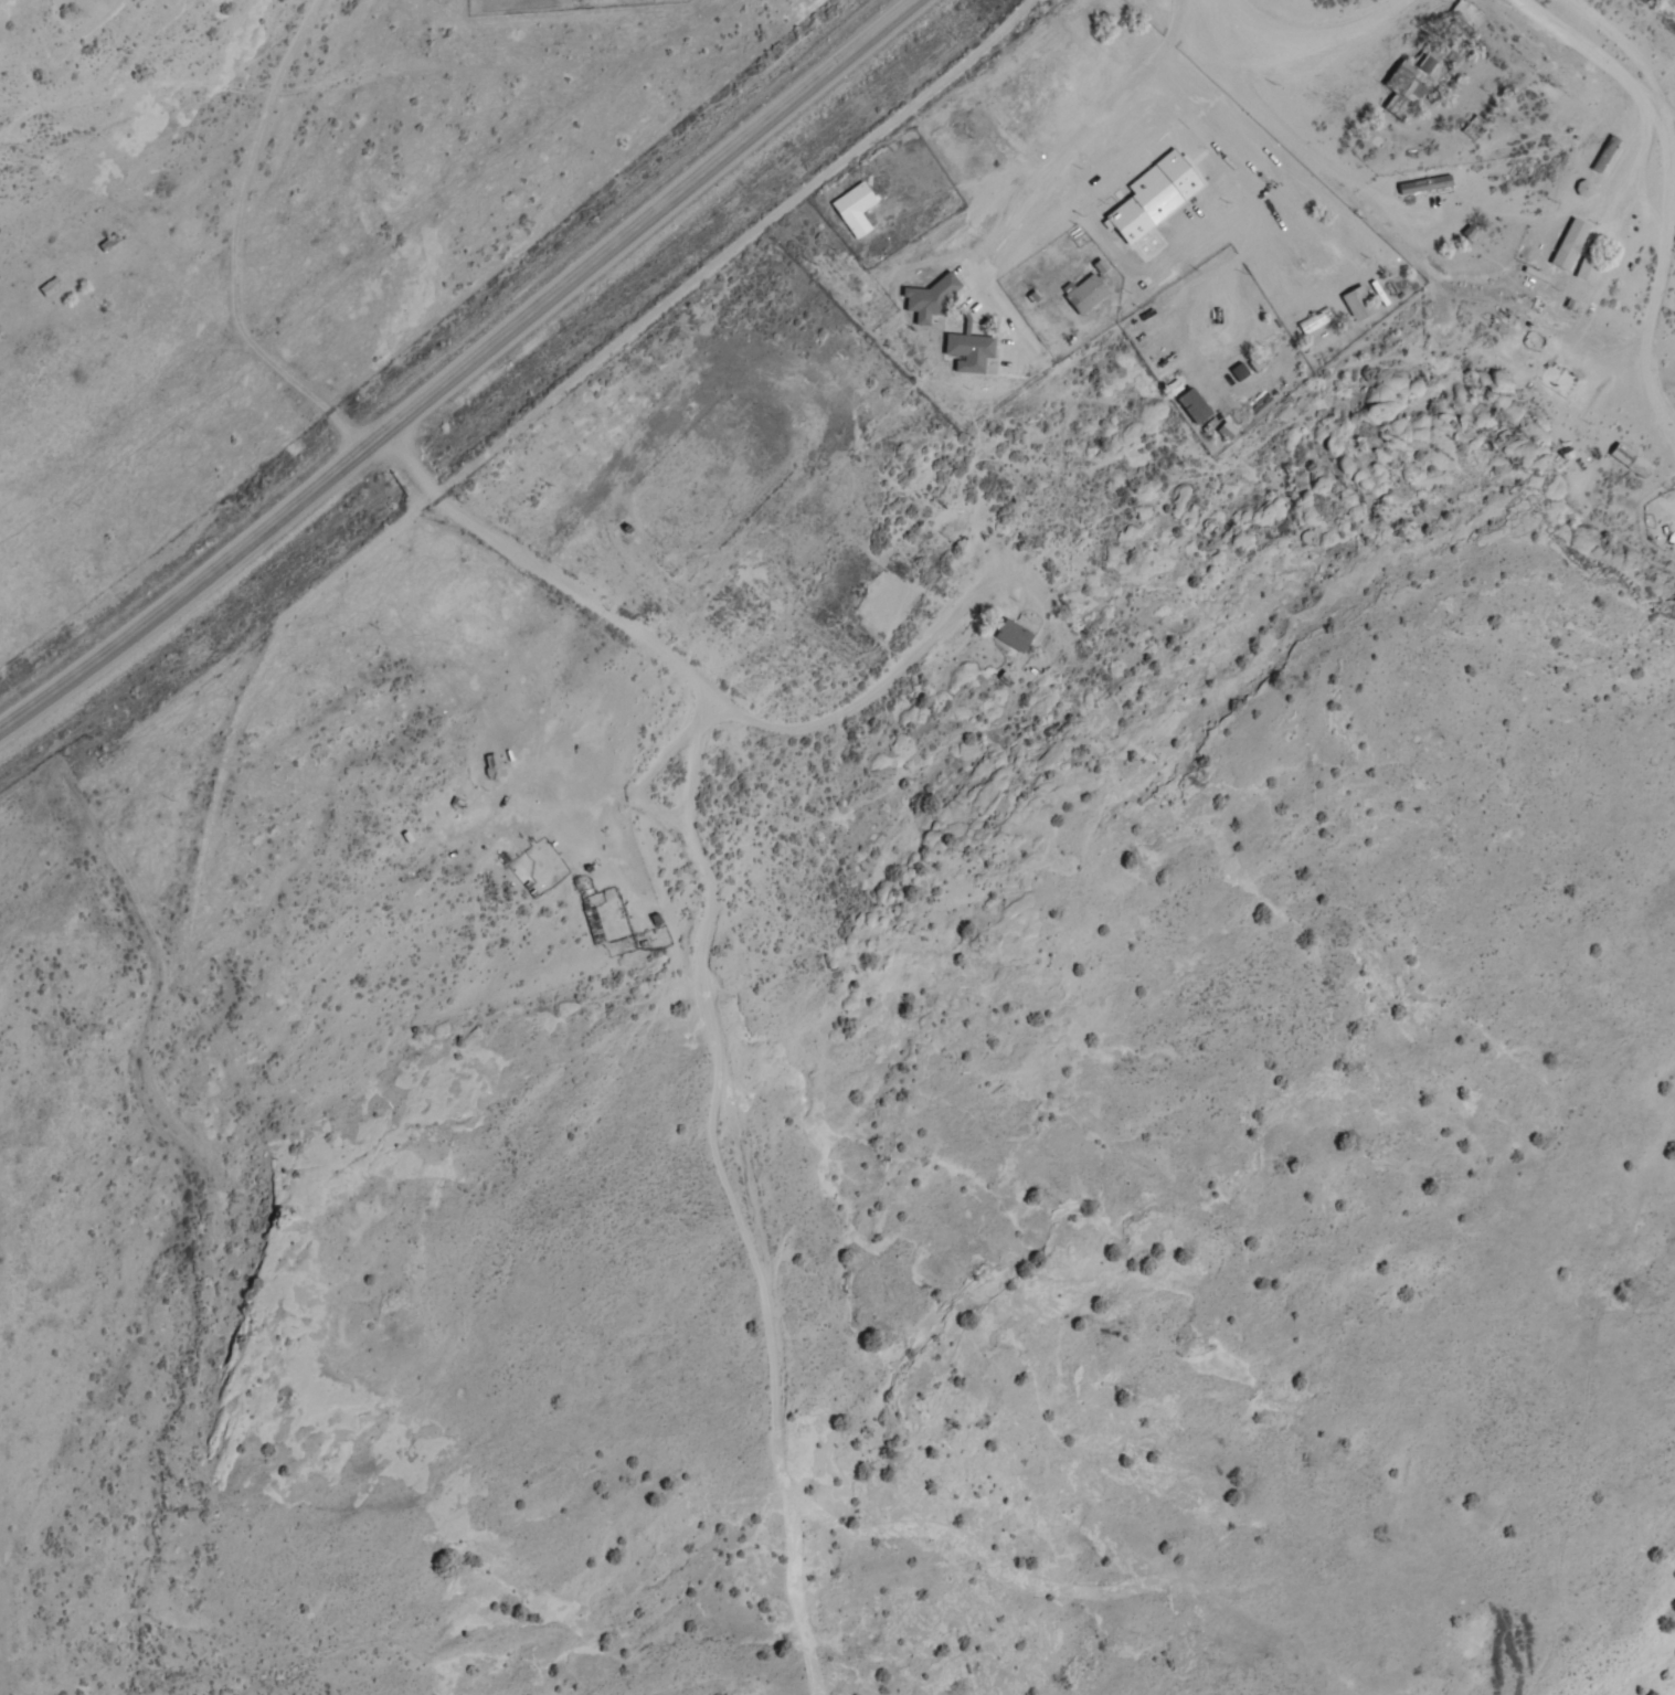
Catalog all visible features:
river: (1662, 14)
road: (1333, 18)
building: (1467, 18)
building: (1419, 80)
building: (1092, 85)
road: (1298, 123)
road: (1674, 162)
building: (1424, 186)
building: (1155, 197)
building: (856, 209)
road: (235, 244)
building: (1556, 256)
building: (1085, 293)
building: (931, 300)
building: (1358, 304)
building: (969, 352)
road: (460, 370)
road: (735, 399)
building: (1194, 406)
road: (1666, 411)
building: (1632, 462)
road: (529, 561)
building: (1015, 636)
road: (879, 984)
road: (1154, 1588)

